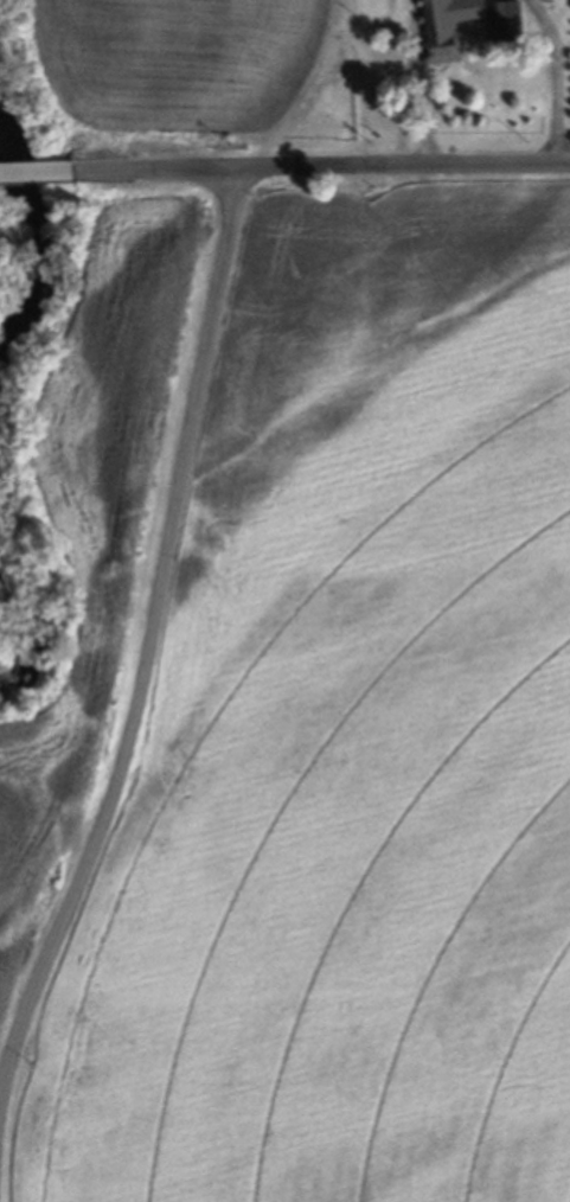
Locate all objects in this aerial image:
building: (504, 21)
building: (444, 26)
road: (563, 77)
road: (322, 166)
road: (38, 171)
road: (149, 646)
crop: (350, 746)

